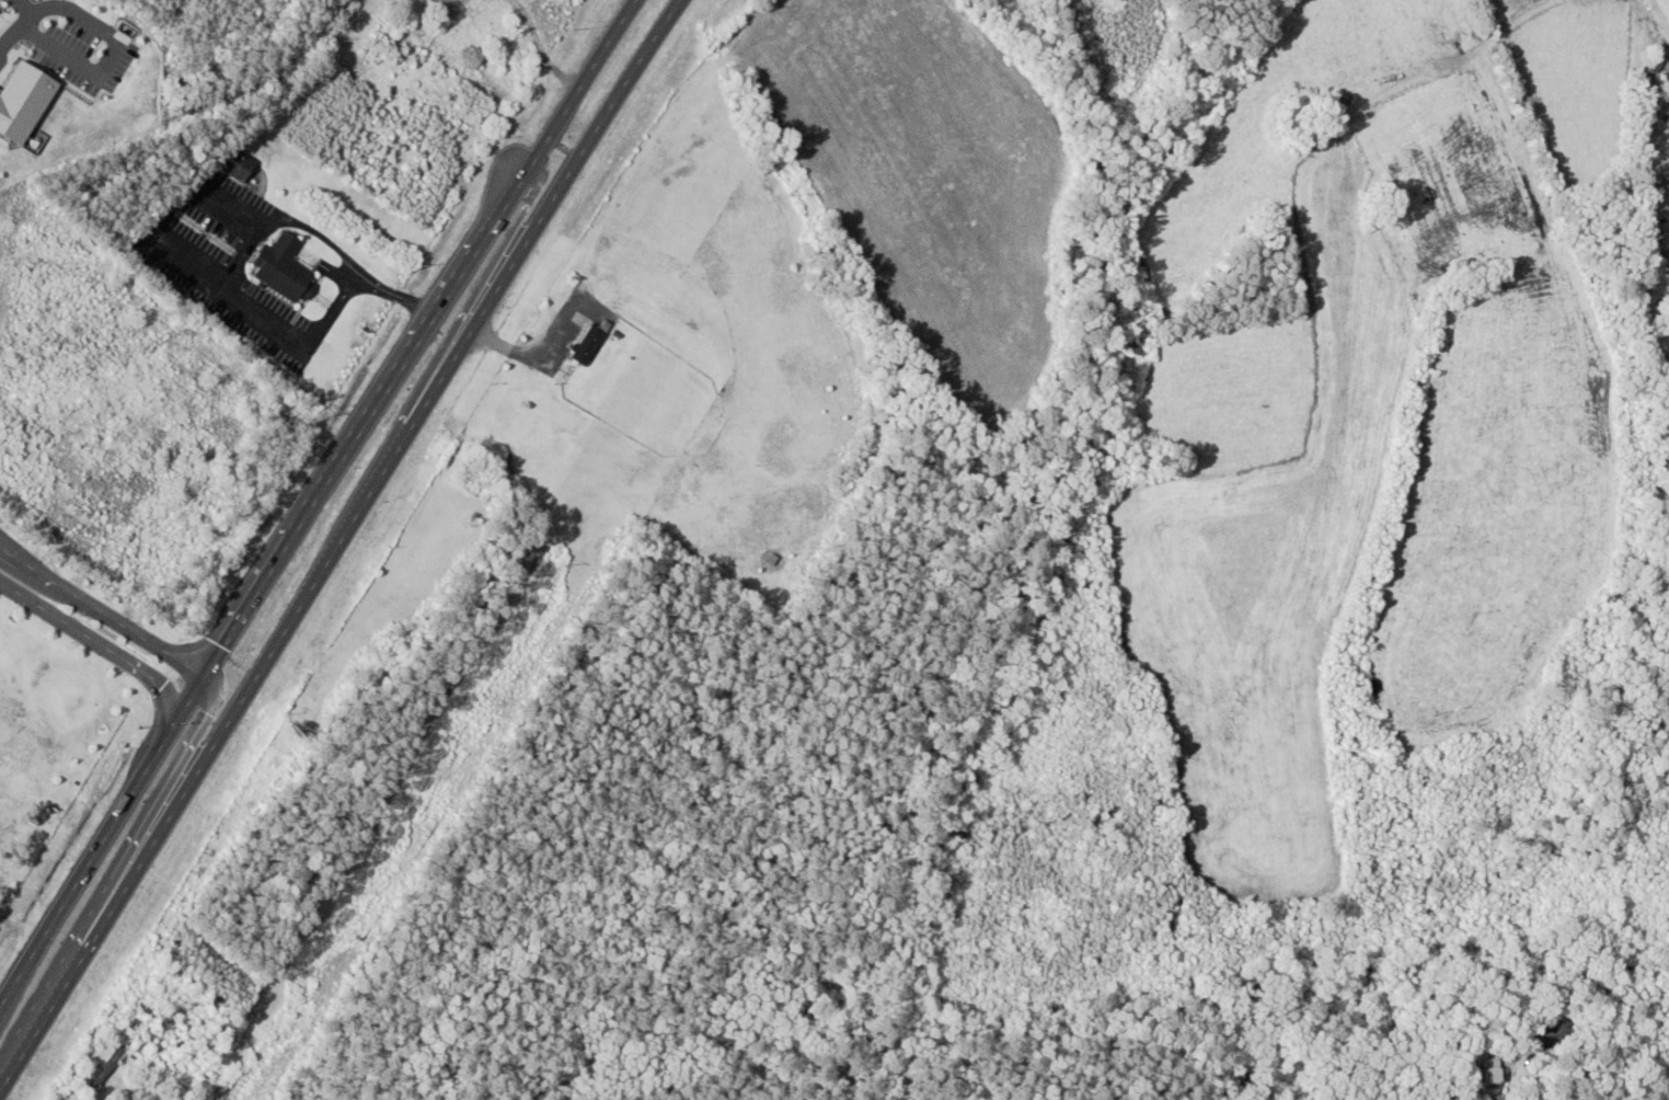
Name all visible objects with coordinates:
building: (357, 67)
building: (237, 165)
building: (1659, 185)
building: (283, 267)
building: (588, 343)
road: (534, 351)
road: (316, 511)
road: (338, 546)
road: (158, 642)
road: (106, 646)
traffic signals: (215, 676)
traffic signals: (179, 738)
road: (1628, 1025)
building: (1538, 1034)
building: (104, 1069)
building: (1486, 1072)

